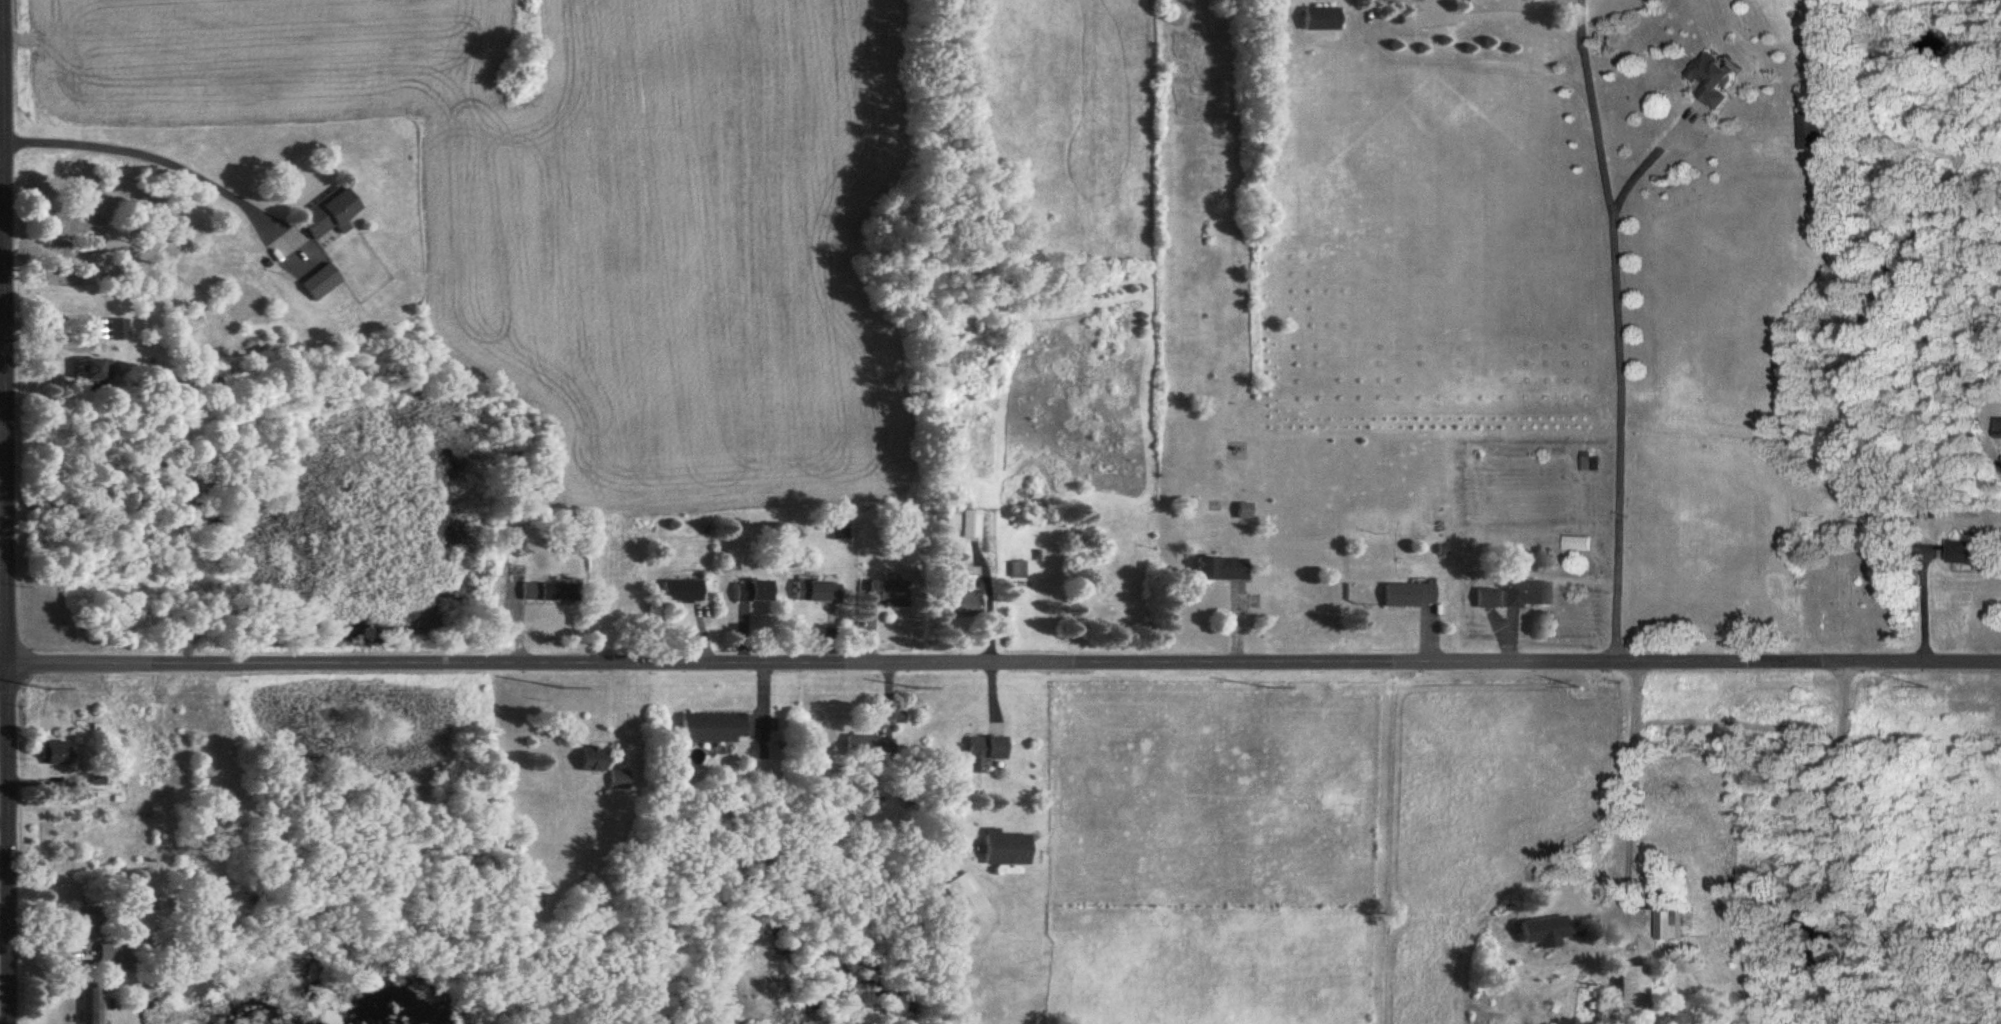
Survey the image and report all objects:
road: (1512, 11)
building: (1321, 20)
building: (1714, 82)
road: (2, 119)
building: (1811, 133)
road: (1647, 154)
road: (144, 157)
building: (329, 214)
road: (2, 222)
building: (322, 283)
building: (118, 330)
road: (1616, 330)
building: (90, 373)
building: (2000, 431)
building: (1593, 463)
road: (6, 512)
building: (971, 525)
building: (1667, 538)
building: (1580, 545)
building: (1968, 554)
building: (1221, 569)
building: (967, 576)
building: (753, 591)
building: (683, 592)
building: (817, 592)
building: (548, 593)
building: (890, 594)
building: (1526, 595)
building: (1409, 596)
building: (1485, 599)
road: (1918, 603)
building: (965, 605)
road: (1000, 665)
power tower: (34, 688)
power tower: (1911, 688)
power tower: (922, 689)
power tower: (1586, 689)
power tower: (550, 690)
power tower: (1256, 690)
building: (718, 728)
building: (871, 747)
building: (995, 748)
building: (56, 753)
building: (976, 755)
building: (593, 761)
building: (620, 779)
building: (98, 780)
road: (1630, 791)
road: (1840, 844)
building: (1006, 849)
building: (967, 896)
building: (89, 922)
building: (1675, 926)
building: (1564, 929)
building: (116, 953)
building: (1634, 992)
building: (95, 1004)

